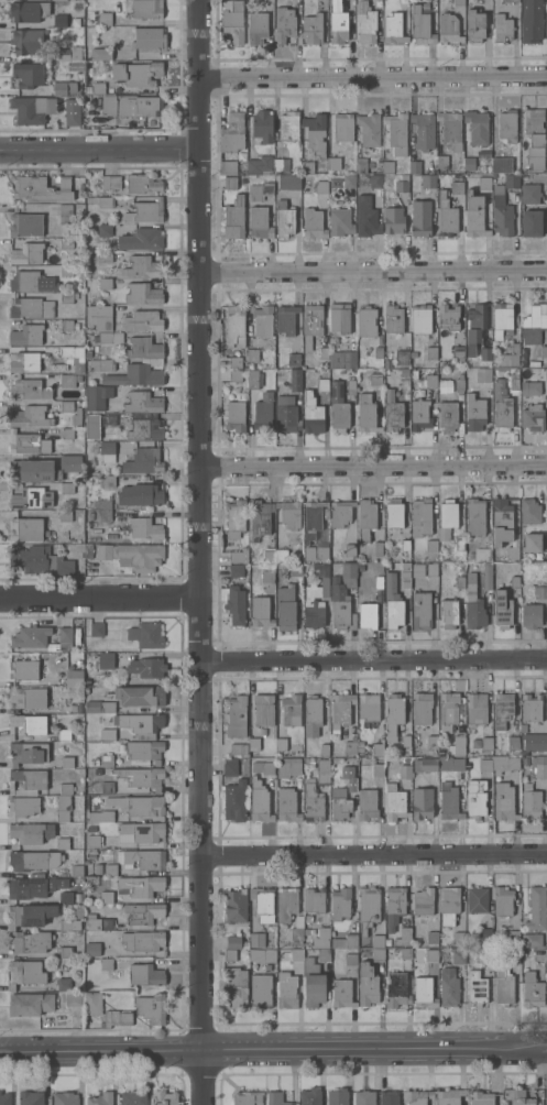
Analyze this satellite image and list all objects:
building: (511, 1)
building: (458, 3)
building: (146, 9)
building: (28, 11)
building: (103, 19)
building: (59, 20)
building: (233, 20)
building: (532, 21)
building: (338, 23)
building: (365, 23)
building: (284, 24)
building: (474, 25)
building: (420, 26)
building: (255, 28)
building: (311, 29)
building: (393, 29)
building: (448, 29)
building: (502, 29)
building: (59, 30)
building: (149, 39)
building: (28, 41)
building: (98, 52)
building: (63, 54)
building: (136, 74)
building: (28, 75)
road: (373, 76)
building: (63, 87)
building: (80, 88)
building: (98, 88)
building: (87, 89)
building: (131, 105)
building: (30, 110)
building: (72, 119)
building: (262, 125)
building: (288, 125)
building: (342, 127)
building: (507, 127)
building: (478, 128)
building: (370, 129)
building: (451, 129)
building: (424, 130)
building: (316, 132)
building: (232, 133)
building: (397, 133)
building: (535, 138)
road: (100, 149)
building: (333, 163)
building: (379, 163)
building: (243, 164)
building: (370, 164)
building: (441, 164)
building: (470, 164)
building: (260, 165)
building: (282, 165)
building: (501, 165)
building: (361, 166)
building: (415, 166)
building: (228, 167)
building: (307, 167)
building: (387, 167)
building: (349, 180)
building: (375, 180)
building: (428, 180)
building: (62, 182)
building: (288, 182)
building: (511, 182)
building: (132, 183)
building: (230, 183)
building: (335, 183)
building: (484, 183)
building: (402, 184)
building: (321, 187)
building: (457, 188)
building: (36, 189)
building: (260, 192)
building: (530, 194)
building: (106, 203)
building: (146, 211)
building: (501, 214)
building: (65, 215)
building: (474, 216)
building: (365, 217)
building: (446, 217)
building: (420, 218)
building: (234, 219)
building: (284, 219)
building: (393, 220)
building: (340, 222)
building: (260, 223)
building: (313, 223)
building: (25, 225)
building: (533, 225)
building: (105, 230)
building: (141, 240)
building: (66, 243)
building: (25, 253)
building: (105, 258)
building: (141, 266)
building: (65, 270)
road: (374, 272)
building: (31, 281)
building: (105, 284)
building: (89, 285)
building: (142, 294)
building: (67, 297)
building: (25, 307)
building: (99, 317)
building: (448, 317)
building: (340, 318)
building: (393, 318)
building: (420, 318)
building: (501, 319)
building: (284, 320)
building: (142, 321)
building: (263, 321)
building: (367, 321)
building: (534, 322)
building: (311, 324)
building: (66, 325)
building: (234, 326)
building: (474, 326)
building: (26, 335)
building: (110, 338)
building: (330, 348)
building: (144, 349)
building: (66, 352)
building: (431, 352)
building: (544, 352)
building: (325, 353)
building: (378, 353)
building: (458, 353)
building: (485, 354)
building: (253, 355)
building: (402, 355)
building: (511, 357)
building: (342, 359)
building: (294, 360)
building: (24, 362)
building: (234, 362)
building: (386, 363)
building: (78, 365)
building: (101, 365)
building: (404, 371)
building: (138, 374)
building: (483, 375)
building: (234, 376)
building: (254, 380)
building: (375, 380)
building: (514, 380)
building: (67, 381)
building: (295, 381)
building: (430, 381)
building: (405, 383)
building: (322, 384)
building: (459, 384)
building: (351, 386)
building: (530, 389)
building: (29, 390)
building: (96, 397)
building: (285, 401)
building: (143, 403)
building: (66, 406)
building: (501, 406)
building: (392, 412)
building: (474, 413)
building: (263, 414)
building: (311, 414)
building: (365, 414)
building: (419, 415)
building: (236, 416)
building: (339, 416)
building: (448, 416)
building: (30, 417)
building: (76, 417)
building: (533, 417)
building: (286, 419)
building: (97, 424)
building: (145, 426)
building: (67, 434)
building: (26, 444)
building: (107, 451)
building: (143, 461)
road: (373, 467)
building: (42, 469)
building: (108, 481)
building: (67, 488)
building: (140, 494)
building: (28, 499)
building: (78, 504)
building: (102, 504)
building: (529, 512)
building: (340, 513)
building: (394, 513)
building: (289, 514)
building: (105, 515)
building: (65, 516)
building: (234, 517)
building: (420, 517)
building: (474, 517)
building: (260, 518)
building: (314, 518)
building: (447, 518)
building: (365, 519)
building: (502, 522)
building: (144, 528)
building: (24, 529)
building: (532, 543)
building: (405, 545)
building: (459, 545)
building: (431, 546)
building: (378, 549)
building: (88, 550)
building: (349, 550)
building: (105, 552)
road: (201, 552)
building: (320, 552)
building: (513, 552)
building: (480, 555)
building: (139, 556)
building: (239, 556)
building: (269, 556)
building: (282, 556)
building: (40, 560)
building: (386, 567)
building: (296, 569)
building: (321, 569)
building: (431, 569)
building: (237, 570)
building: (349, 573)
building: (405, 576)
building: (267, 577)
building: (486, 577)
building: (460, 581)
building: (379, 582)
building: (515, 582)
building: (313, 590)
building: (540, 592)
road: (101, 598)
building: (393, 603)
building: (473, 604)
building: (236, 606)
building: (341, 606)
building: (286, 608)
building: (503, 610)
building: (420, 611)
building: (260, 612)
building: (449, 613)
building: (314, 614)
building: (368, 615)
building: (530, 616)
building: (97, 630)
building: (146, 635)
building: (31, 637)
building: (65, 638)
building: (106, 660)
road: (374, 663)
building: (147, 667)
building: (23, 669)
building: (74, 678)
building: (85, 690)
building: (139, 696)
building: (28, 697)
building: (91, 707)
building: (107, 707)
building: (369, 707)
building: (79, 708)
building: (420, 708)
building: (530, 708)
building: (502, 709)
building: (263, 710)
building: (291, 710)
building: (341, 710)
building: (475, 710)
building: (450, 711)
building: (236, 716)
building: (313, 716)
building: (394, 718)
building: (142, 724)
building: (28, 725)
building: (64, 734)
building: (107, 734)
building: (541, 741)
building: (431, 742)
building: (513, 742)
building: (486, 743)
building: (254, 744)
building: (281, 744)
building: (405, 746)
building: (459, 746)
building: (350, 748)
building: (360, 748)
building: (239, 750)
building: (324, 750)
building: (376, 750)
building: (145, 751)
building: (28, 753)
building: (434, 754)
building: (106, 761)
building: (67, 762)
building: (451, 763)
building: (484, 764)
building: (425, 765)
building: (507, 765)
building: (538, 766)
building: (230, 767)
building: (263, 767)
building: (288, 767)
building: (378, 769)
building: (322, 772)
building: (404, 772)
building: (142, 777)
building: (26, 781)
building: (119, 784)
building: (352, 784)
building: (481, 785)
building: (65, 788)
building: (107, 788)
building: (234, 800)
building: (474, 800)
building: (259, 801)
building: (63, 802)
building: (113, 802)
building: (422, 802)
building: (449, 802)
building: (504, 802)
building: (530, 802)
building: (313, 803)
building: (394, 803)
building: (339, 805)
building: (145, 806)
building: (287, 806)
building: (368, 806)
building: (22, 807)
building: (63, 816)
building: (99, 816)
building: (124, 831)
building: (149, 832)
building: (31, 833)
building: (92, 841)
building: (62, 843)
building: (91, 854)
road: (373, 855)
building: (142, 858)
building: (34, 860)
building: (98, 868)
building: (110, 869)
building: (76, 871)
building: (146, 886)
building: (34, 887)
building: (123, 888)
building: (65, 897)
building: (477, 899)
building: (315, 900)
building: (503, 900)
building: (423, 901)
building: (264, 904)
building: (286, 904)
building: (340, 904)
building: (236, 906)
building: (449, 906)
building: (394, 907)
building: (127, 908)
building: (368, 908)
building: (536, 909)
building: (76, 912)
building: (146, 913)
building: (30, 916)
building: (98, 923)
building: (69, 925)
building: (296, 931)
building: (324, 933)
building: (332, 933)
building: (484, 936)
building: (403, 937)
building: (433, 938)
building: (514, 938)
building: (459, 939)
building: (143, 940)
building: (256, 940)
building: (530, 940)
building: (344, 941)
building: (376, 941)
building: (29, 942)
building: (236, 942)
building: (322, 944)
building: (92, 949)
building: (65, 952)
building: (405, 953)
building: (296, 954)
building: (324, 954)
building: (378, 954)
building: (229, 955)
building: (270, 955)
building: (431, 955)
building: (513, 955)
building: (458, 956)
building: (488, 959)
building: (350, 960)
building: (106, 964)
building: (310, 966)
building: (24, 973)
building: (145, 975)
building: (64, 984)
building: (367, 985)
building: (234, 986)
building: (504, 986)
building: (448, 987)
building: (314, 989)
building: (396, 989)
building: (477, 989)
building: (287, 991)
building: (532, 991)
building: (261, 992)
building: (424, 993)
building: (342, 994)
building: (73, 998)
building: (30, 1004)
building: (92, 1004)
building: (151, 1008)
building: (114, 1019)
road: (273, 1050)
building: (310, 1096)
building: (449, 1096)
building: (248, 1097)
building: (338, 1097)
building: (364, 1097)
building: (416, 1097)
building: (517, 1097)
building: (4, 1098)
building: (30, 1098)
building: (65, 1098)
building: (100, 1098)
building: (133, 1098)
building: (165, 1098)
building: (275, 1098)
building: (390, 1098)
building: (481, 1098)

